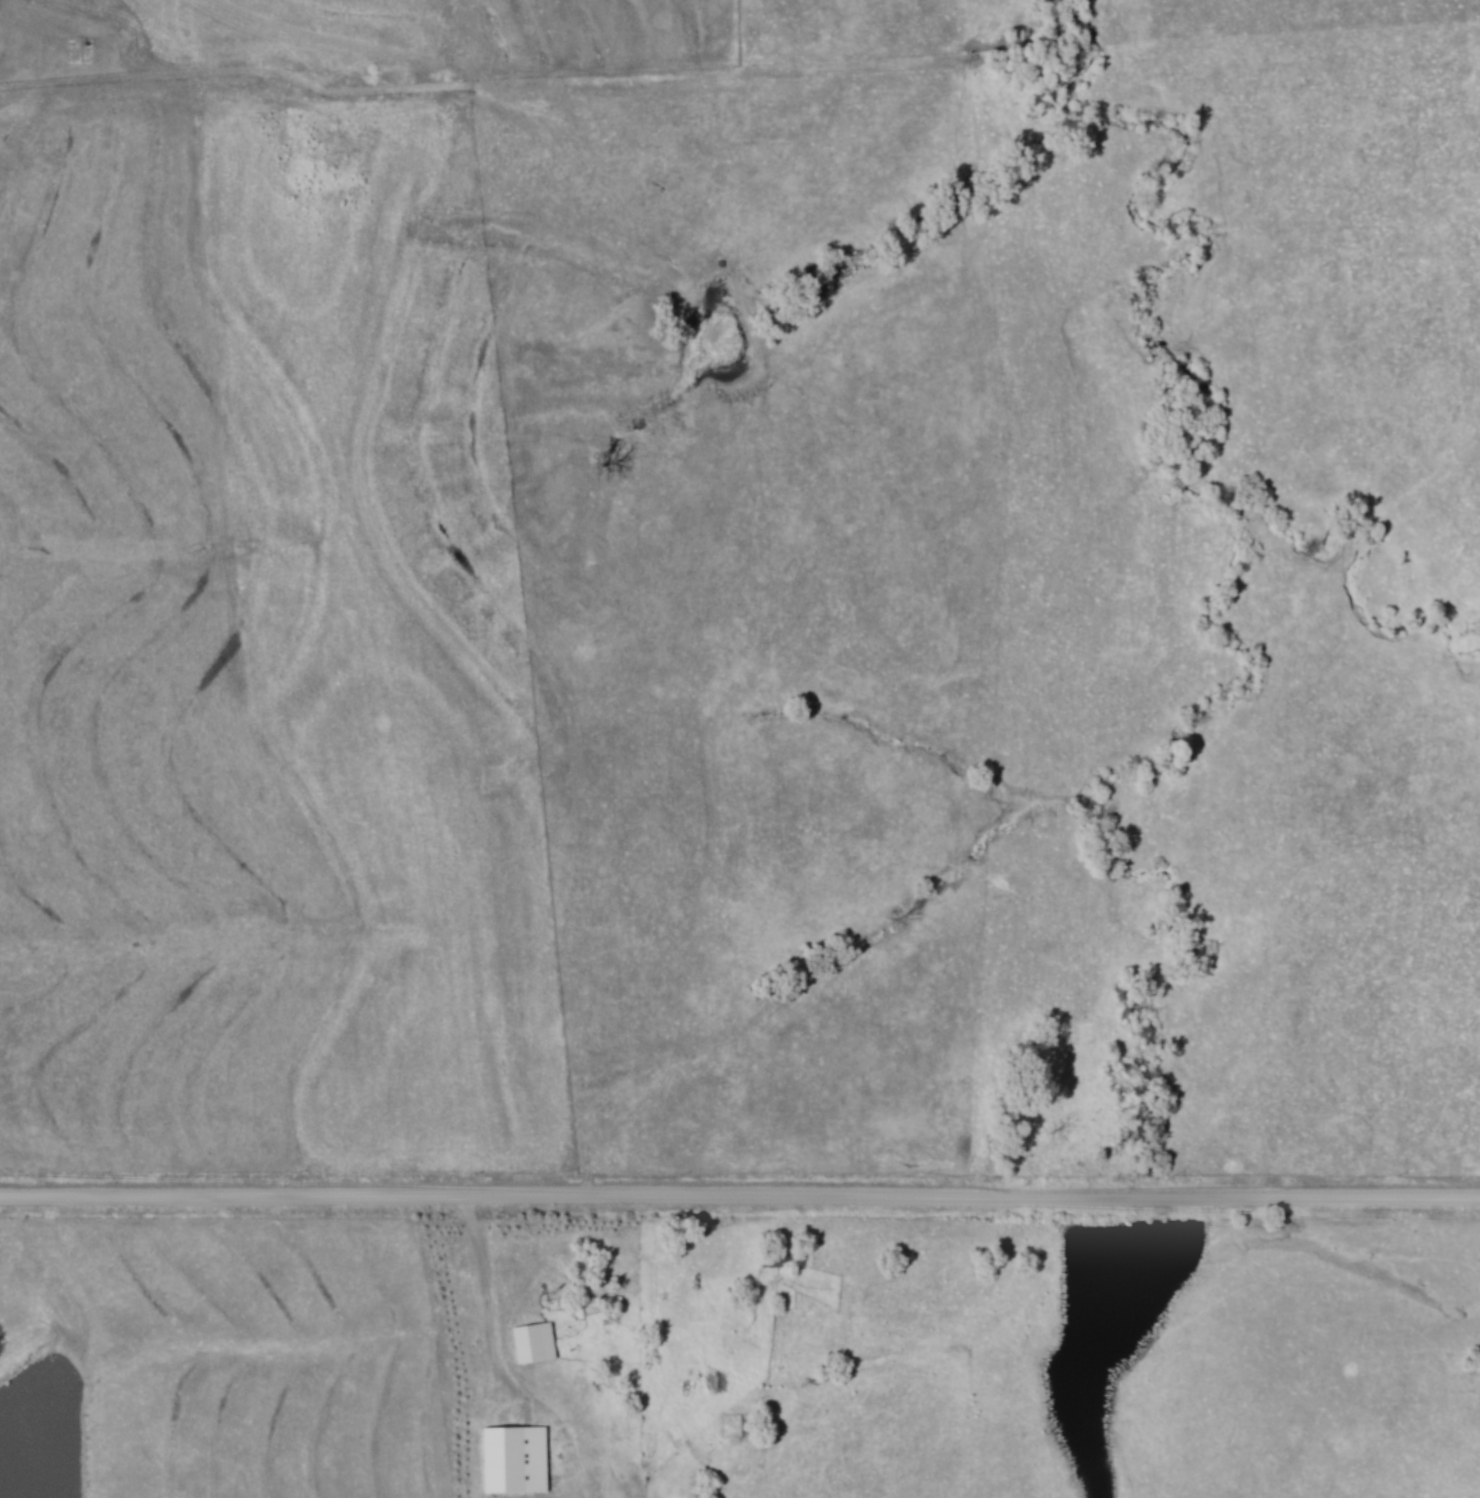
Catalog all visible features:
road: (739, 1197)
building: (787, 1260)
building: (536, 1342)
building: (507, 1459)

